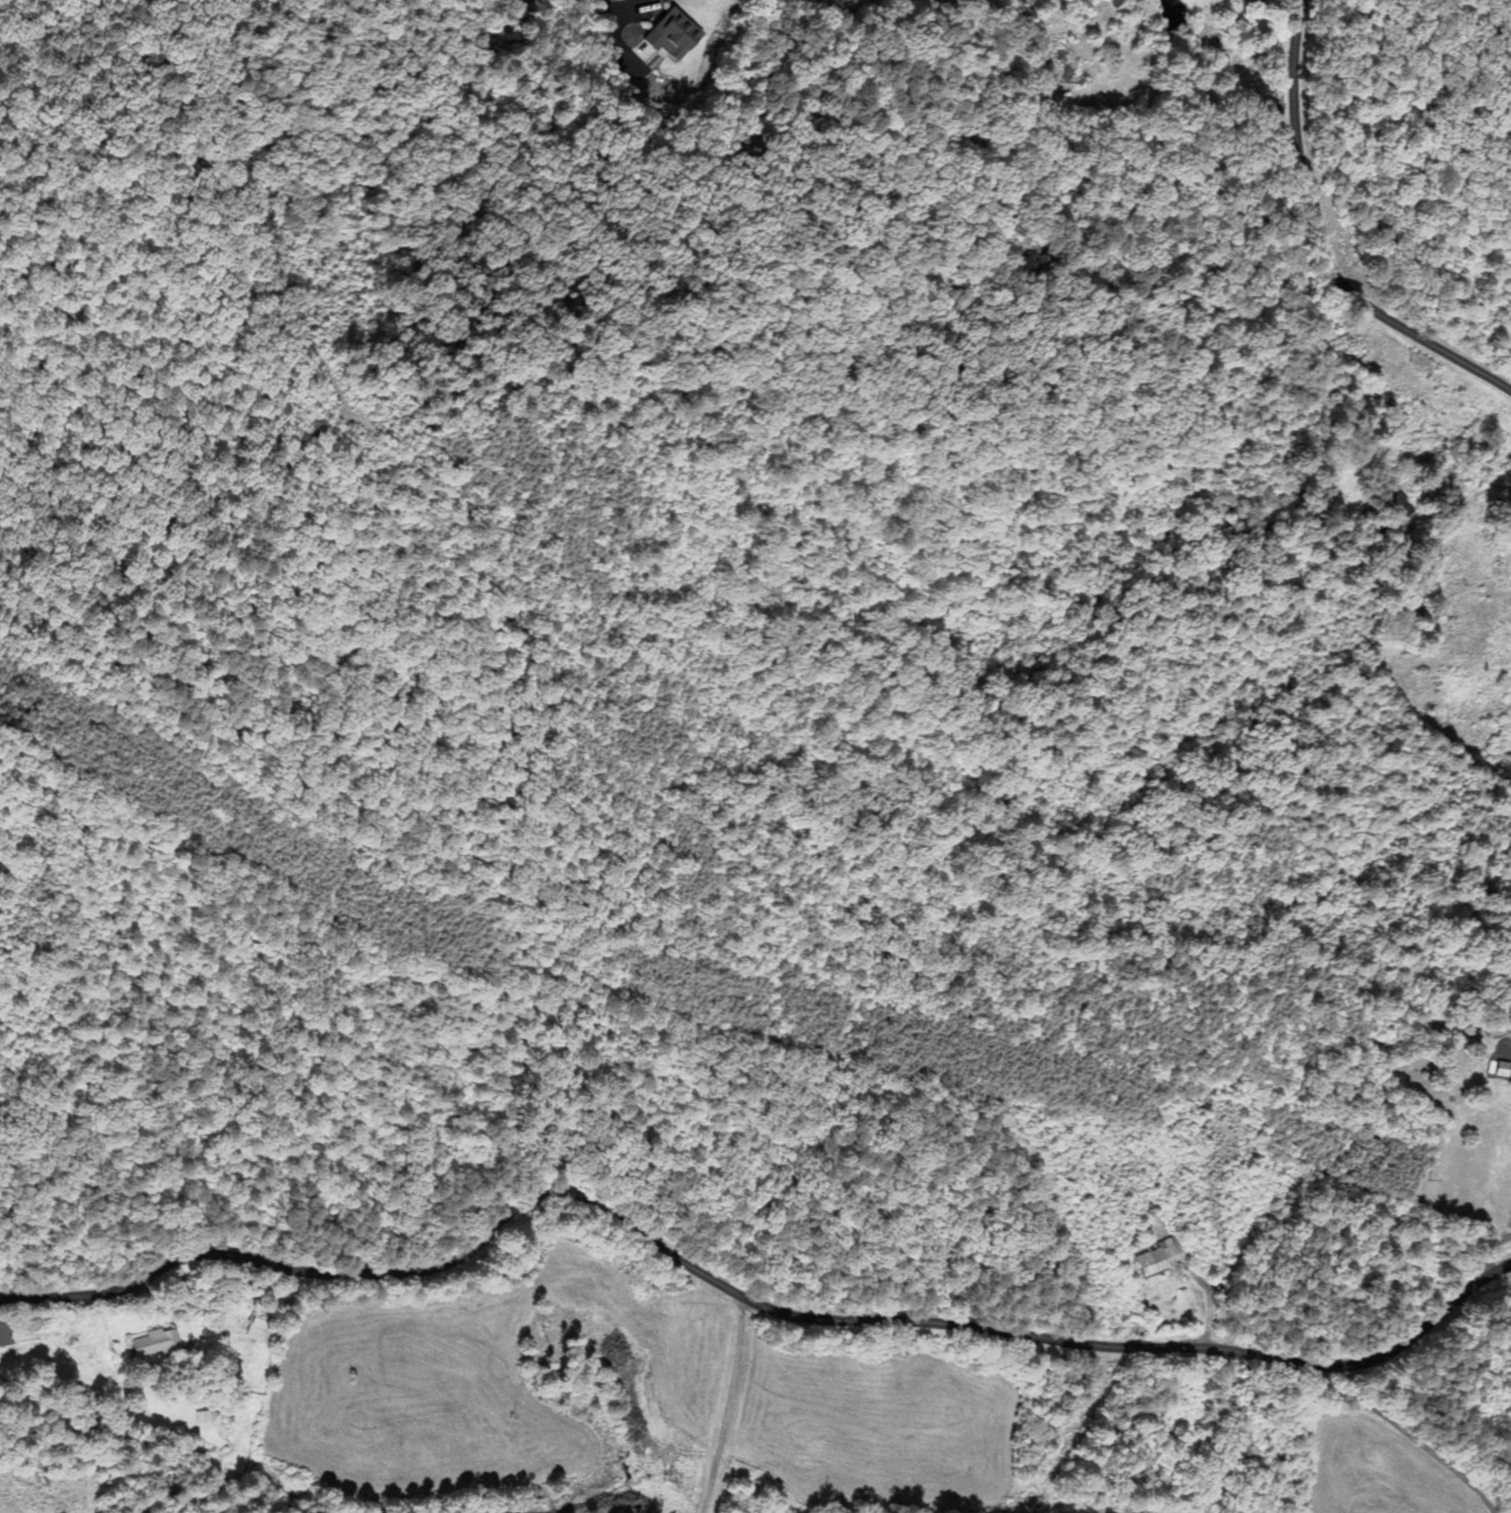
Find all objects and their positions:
road: (631, 2)
building: (666, 36)
road: (1320, 239)
building: (1161, 1257)
road: (741, 1291)
building: (3, 1335)
building: (158, 1345)
road: (723, 1402)
road: (1406, 1426)

